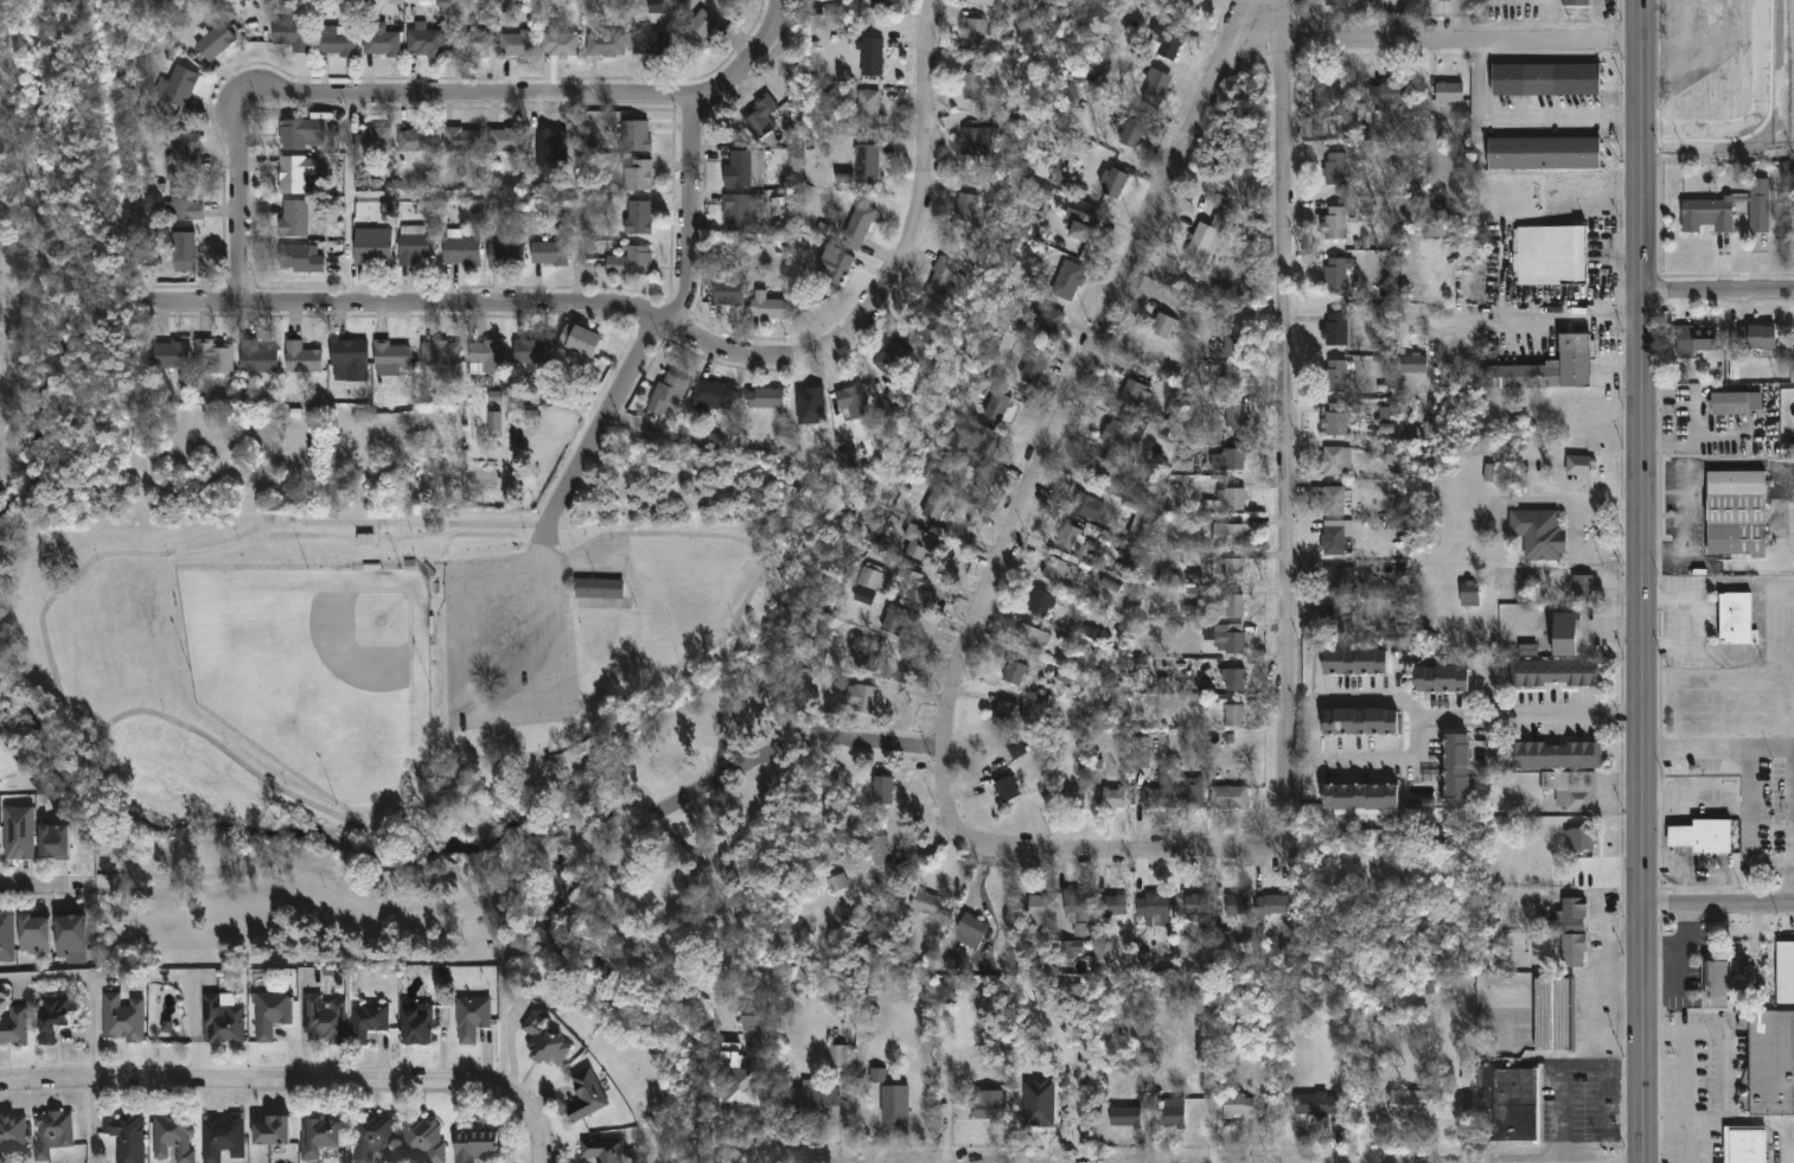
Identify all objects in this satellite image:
building: (1439, 0)
building: (1007, 1)
building: (984, 2)
building: (1335, 4)
building: (1575, 4)
building: (875, 5)
building: (230, 6)
building: (656, 6)
building: (1193, 6)
building: (1124, 30)
building: (698, 32)
building: (975, 34)
building: (291, 36)
building: (1167, 40)
building: (333, 41)
building: (381, 41)
building: (215, 44)
building: (424, 44)
road: (1462, 44)
building: (471, 45)
building: (516, 45)
building: (650, 45)
building: (560, 46)
building: (604, 46)
building: (872, 59)
building: (1544, 81)
building: (178, 88)
building: (971, 89)
building: (1154, 90)
road: (483, 95)
building: (1386, 95)
building: (1448, 95)
building: (1330, 100)
building: (868, 111)
road: (1524, 116)
building: (760, 119)
building: (1132, 133)
building: (302, 136)
building: (634, 138)
building: (550, 139)
building: (460, 140)
building: (371, 141)
building: (416, 141)
building: (505, 141)
building: (970, 143)
road: (925, 152)
building: (185, 153)
building: (1543, 155)
building: (866, 165)
building: (1334, 170)
building: (742, 171)
building: (295, 174)
building: (1061, 174)
building: (637, 177)
building: (1111, 185)
road: (242, 200)
building: (183, 204)
building: (1758, 206)
building: (966, 207)
building: (1705, 213)
building: (735, 215)
building: (638, 219)
building: (294, 221)
building: (1335, 225)
building: (857, 228)
building: (1077, 228)
building: (1206, 239)
building: (414, 250)
building: (184, 254)
building: (461, 254)
building: (372, 255)
building: (549, 255)
building: (504, 256)
building: (1549, 257)
building: (300, 260)
building: (630, 264)
building: (832, 269)
road: (692, 274)
building: (1335, 276)
building: (939, 282)
building: (1066, 285)
building: (727, 293)
road: (1718, 295)
park: (81, 301)
road: (532, 303)
building: (766, 308)
building: (1048, 326)
road: (1544, 326)
building: (1163, 327)
building: (1335, 331)
building: (1693, 338)
building: (1756, 338)
building: (579, 343)
building: (1233, 349)
building: (531, 354)
building: (168, 357)
building: (215, 357)
building: (390, 357)
building: (439, 357)
building: (892, 358)
building: (257, 359)
building: (485, 359)
building: (301, 360)
building: (349, 363)
building: (1412, 366)
building: (1033, 370)
building: (1546, 370)
building: (1335, 378)
road: (1704, 389)
building: (668, 395)
building: (898, 395)
building: (1135, 395)
building: (714, 398)
building: (764, 400)
building: (1735, 403)
building: (853, 405)
building: (811, 407)
building: (996, 408)
road: (1666, 409)
road: (1067, 411)
road: (1287, 414)
building: (1233, 418)
building: (494, 421)
building: (1339, 421)
building: (1387, 428)
building: (1119, 430)
building: (981, 443)
road: (1734, 447)
building: (1393, 454)
building: (1228, 461)
building: (1335, 462)
road: (1703, 465)
building: (1579, 466)
building: (1102, 471)
building: (964, 481)
building: (1232, 499)
building: (1332, 503)
building: (1084, 505)
building: (934, 507)
building: (1735, 512)
building: (1142, 526)
building: (876, 528)
road: (1573, 529)
building: (1538, 535)
building: (1228, 537)
building: (1334, 538)
building: (1071, 539)
building: (365, 542)
building: (917, 544)
road: (1713, 563)
building: (1233, 571)
building: (1054, 573)
building: (1195, 579)
building: (869, 581)
road: (1642, 581)
building: (1345, 582)
building: (909, 587)
building: (1582, 588)
building: (598, 590)
building: (864, 596)
building: (1469, 596)
building: (1040, 606)
building: (1232, 608)
building: (1732, 619)
building: (895, 622)
building: (1335, 622)
road: (1698, 622)
building: (1563, 634)
building: (1228, 640)
building: (1032, 641)
parking lot: (507, 643)
road: (715, 644)
building: (1527, 650)
building: (863, 654)
park: (352, 663)
building: (1353, 663)
building: (1554, 672)
building: (1014, 675)
park: (320, 676)
building: (1232, 680)
building: (1441, 680)
building: (858, 699)
road: (459, 709)
road: (1533, 713)
building: (1004, 715)
building: (1233, 717)
building: (1358, 723)
road: (798, 737)
road: (1717, 747)
building: (1015, 750)
road: (1311, 752)
park: (387, 753)
building: (1139, 753)
building: (1553, 755)
park: (52, 763)
building: (1455, 772)
building: (831, 774)
building: (1569, 788)
building: (882, 791)
building: (1005, 791)
building: (1188, 795)
building: (1359, 797)
road: (1686, 797)
building: (1228, 798)
building: (1110, 799)
building: (1153, 799)
building: (1074, 800)
building: (1422, 804)
road: (1662, 823)
road: (1745, 830)
building: (18, 835)
building: (1700, 837)
building: (1578, 839)
building: (51, 843)
building: (876, 851)
road: (1122, 857)
road: (1699, 869)
building: (836, 883)
road: (1793, 883)
road: (38, 884)
road: (1685, 886)
road: (1718, 902)
building: (1196, 905)
building: (930, 906)
building: (1075, 907)
building: (1115, 907)
building: (1237, 907)
building: (1271, 907)
building: (1153, 910)
building: (1039, 912)
building: (971, 928)
building: (1080, 929)
building: (1572, 933)
building: (34, 935)
building: (6, 937)
road: (1754, 939)
building: (70, 940)
building: (1219, 940)
road: (1685, 944)
building: (1070, 952)
road: (1684, 969)
building: (1783, 971)
road: (46, 978)
building: (1713, 979)
building: (270, 1015)
building: (1553, 1015)
building: (53, 1017)
building: (471, 1018)
building: (122, 1020)
building: (754, 1020)
building: (324, 1022)
building: (366, 1022)
building: (222, 1023)
building: (416, 1025)
building: (13, 1030)
road: (92, 1031)
road: (505, 1035)
building: (543, 1043)
building: (838, 1057)
building: (1768, 1063)
road: (1562, 1073)
road: (1691, 1073)
building: (877, 1075)
building: (735, 1081)
road: (294, 1085)
building: (586, 1098)
building: (1512, 1104)
building: (1316, 1105)
building: (1411, 1105)
building: (1238, 1106)
building: (813, 1107)
building: (987, 1107)
building: (890, 1108)
building: (1170, 1114)
building: (1125, 1118)
road: (1725, 1120)
road: (94, 1124)
road: (1603, 1126)
building: (270, 1131)
building: (51, 1133)
building: (126, 1137)
building: (318, 1137)
building: (221, 1138)
building: (12, 1139)
building: (173, 1139)
building: (371, 1139)
building: (422, 1140)
building: (473, 1145)
building: (1744, 1145)
building: (601, 1150)
road: (1792, 1156)

